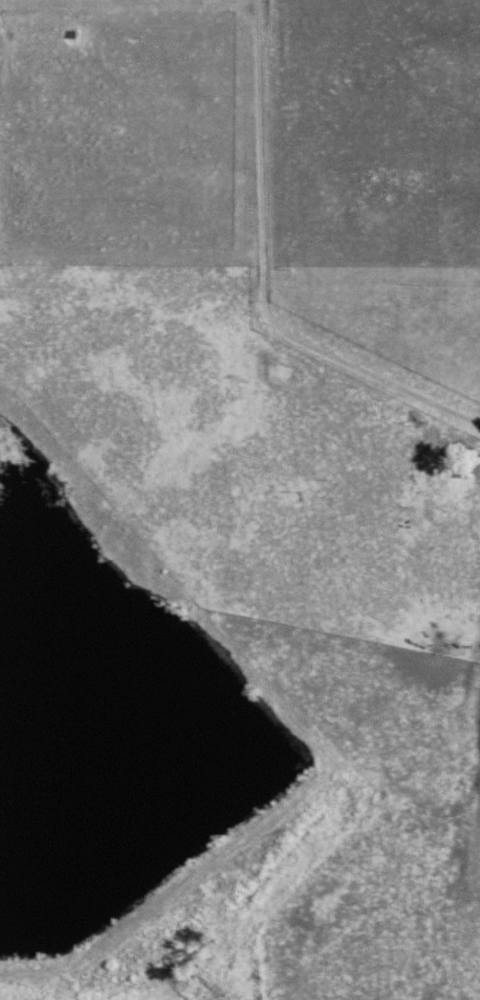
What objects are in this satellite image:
road: (270, 272)

